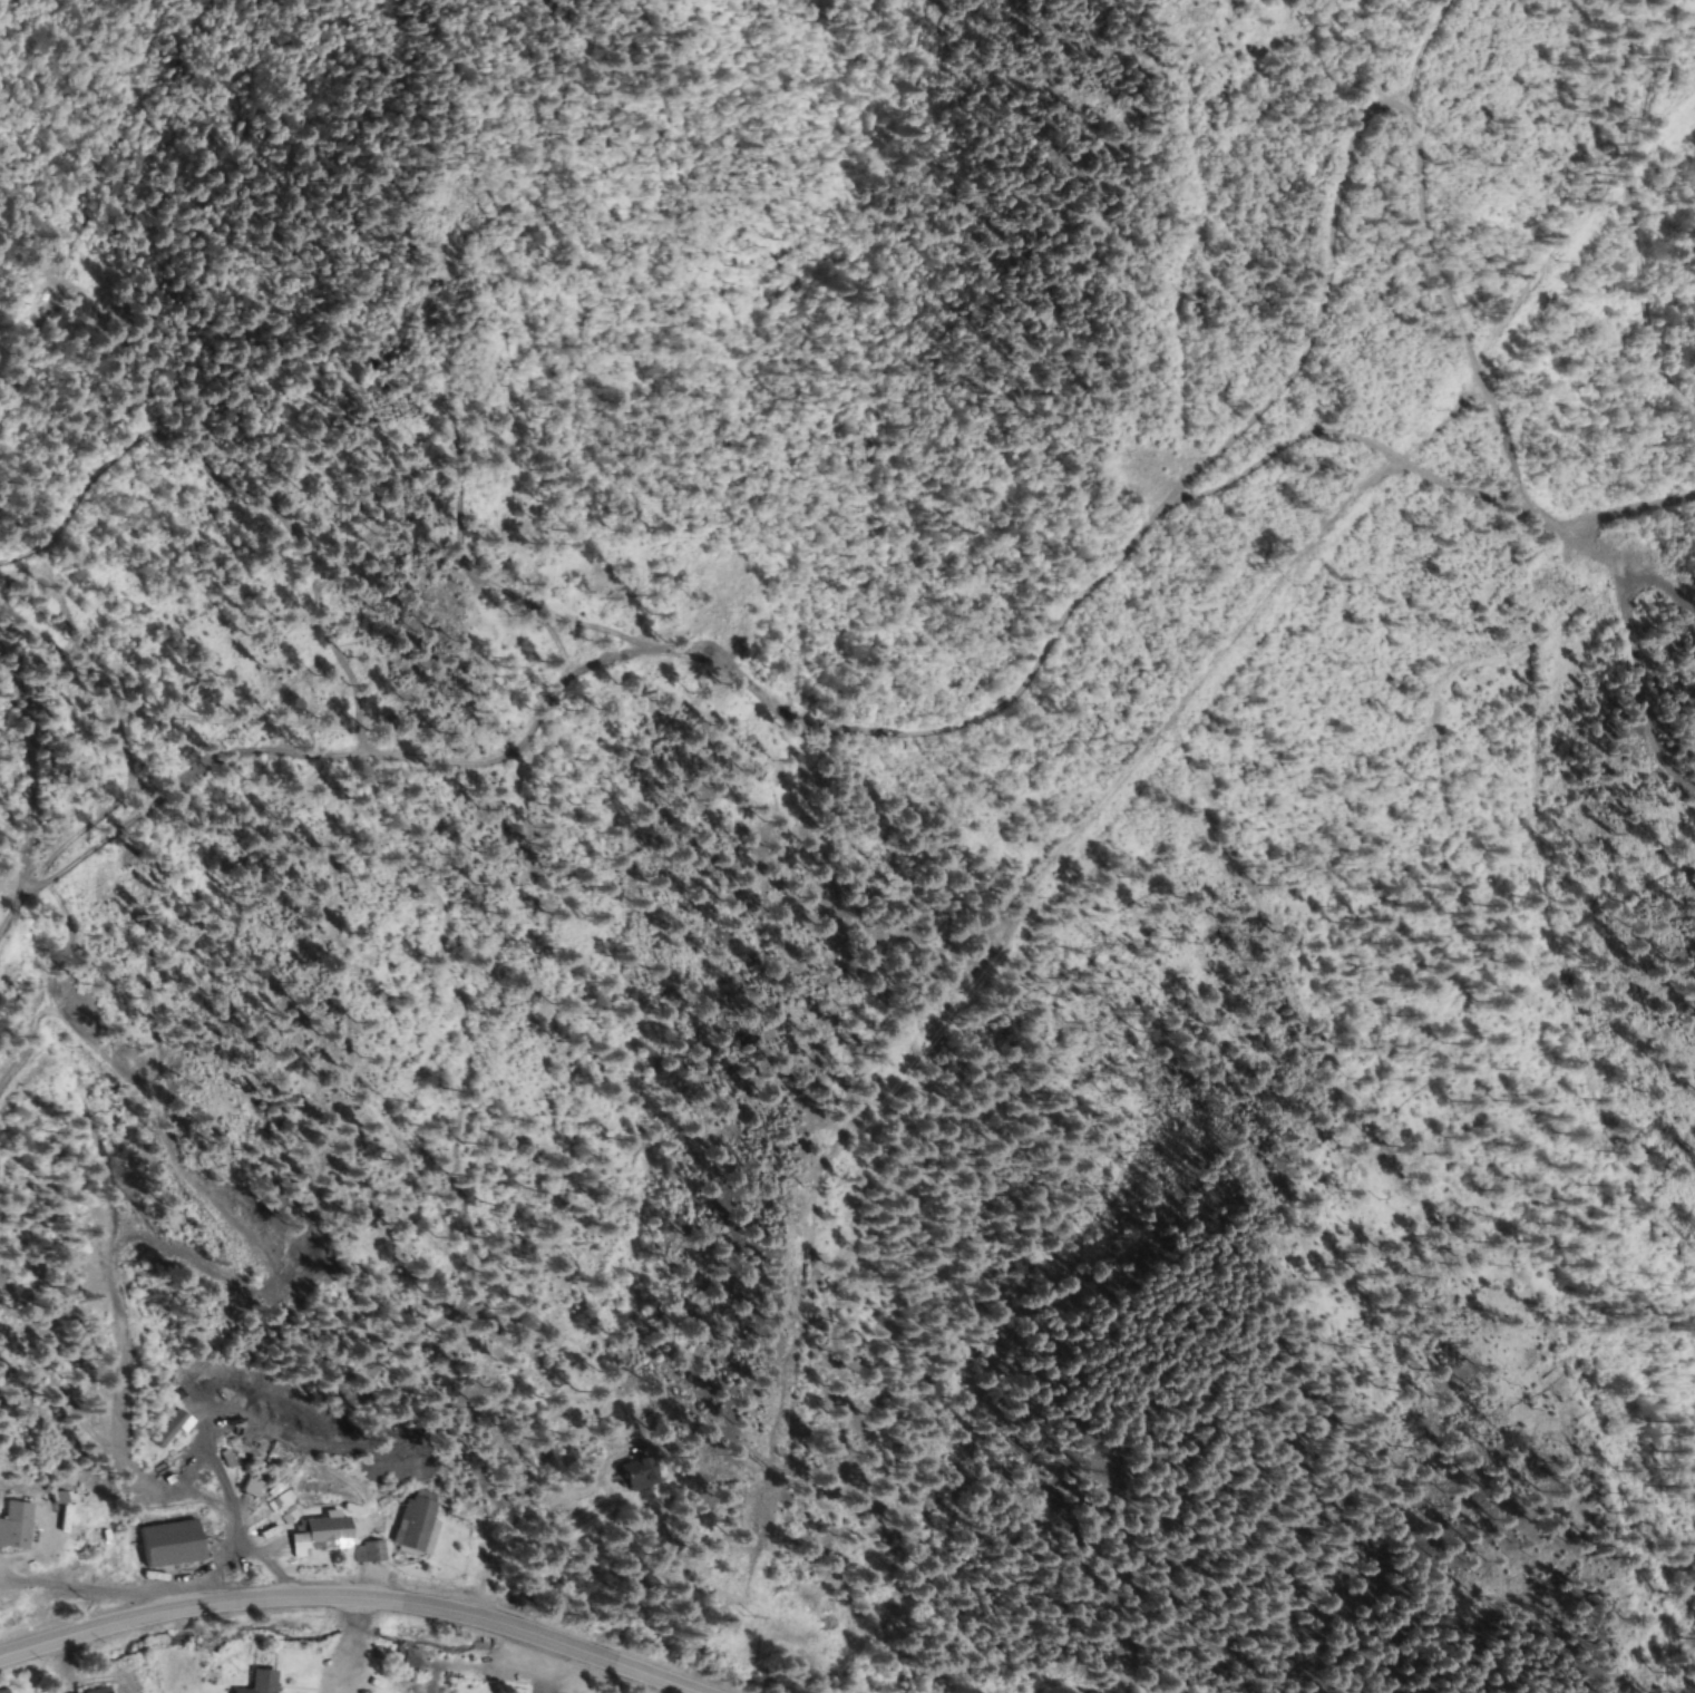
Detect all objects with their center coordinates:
building: (175, 1428)
building: (642, 1473)
building: (179, 1488)
building: (418, 1524)
building: (18, 1526)
building: (323, 1535)
building: (174, 1544)
building: (373, 1551)
road: (344, 1602)
building: (262, 1682)
building: (133, 1687)
building: (6, 1691)
building: (106, 1691)

